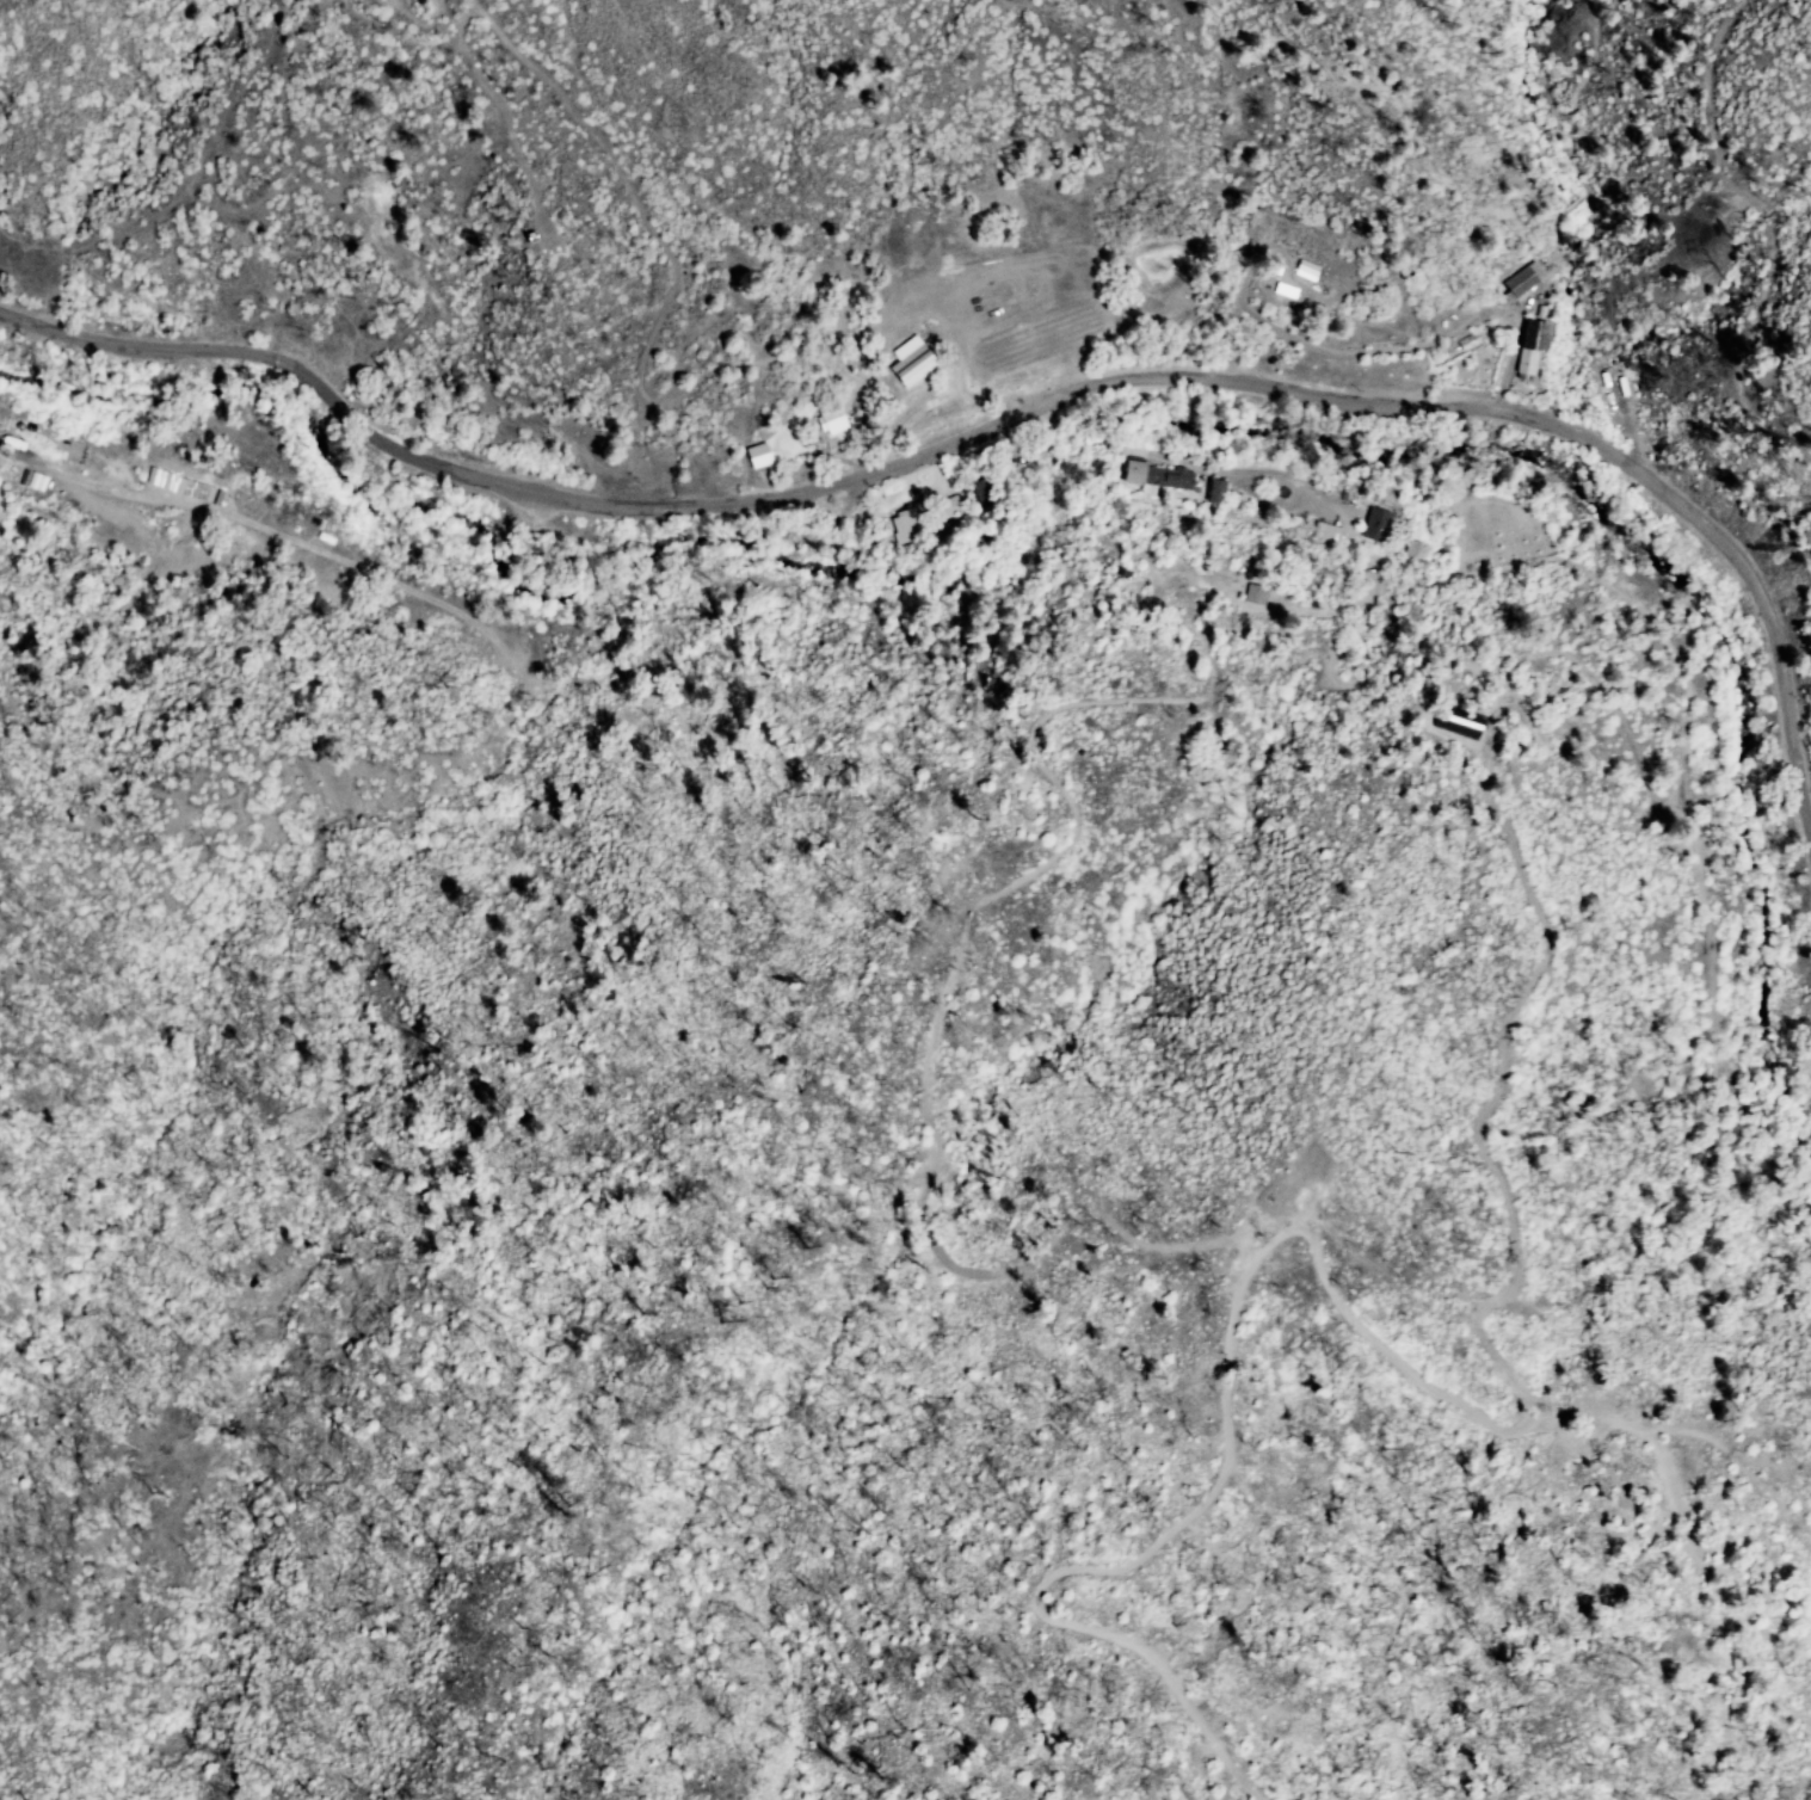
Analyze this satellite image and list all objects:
building: (1305, 270)
building: (1527, 279)
building: (1474, 340)
building: (1535, 347)
building: (914, 365)
building: (1609, 392)
building: (685, 396)
building: (5, 415)
building: (834, 417)
road: (1017, 420)
building: (76, 451)
building: (757, 455)
road: (35, 460)
building: (1137, 471)
building: (123, 473)
building: (1171, 479)
building: (33, 483)
building: (984, 487)
building: (1344, 487)
building: (1218, 493)
building: (949, 506)
building: (1262, 508)
building: (911, 522)
building: (1378, 525)
building: (1328, 532)
building: (1416, 550)
building: (1259, 594)
building: (1461, 723)

